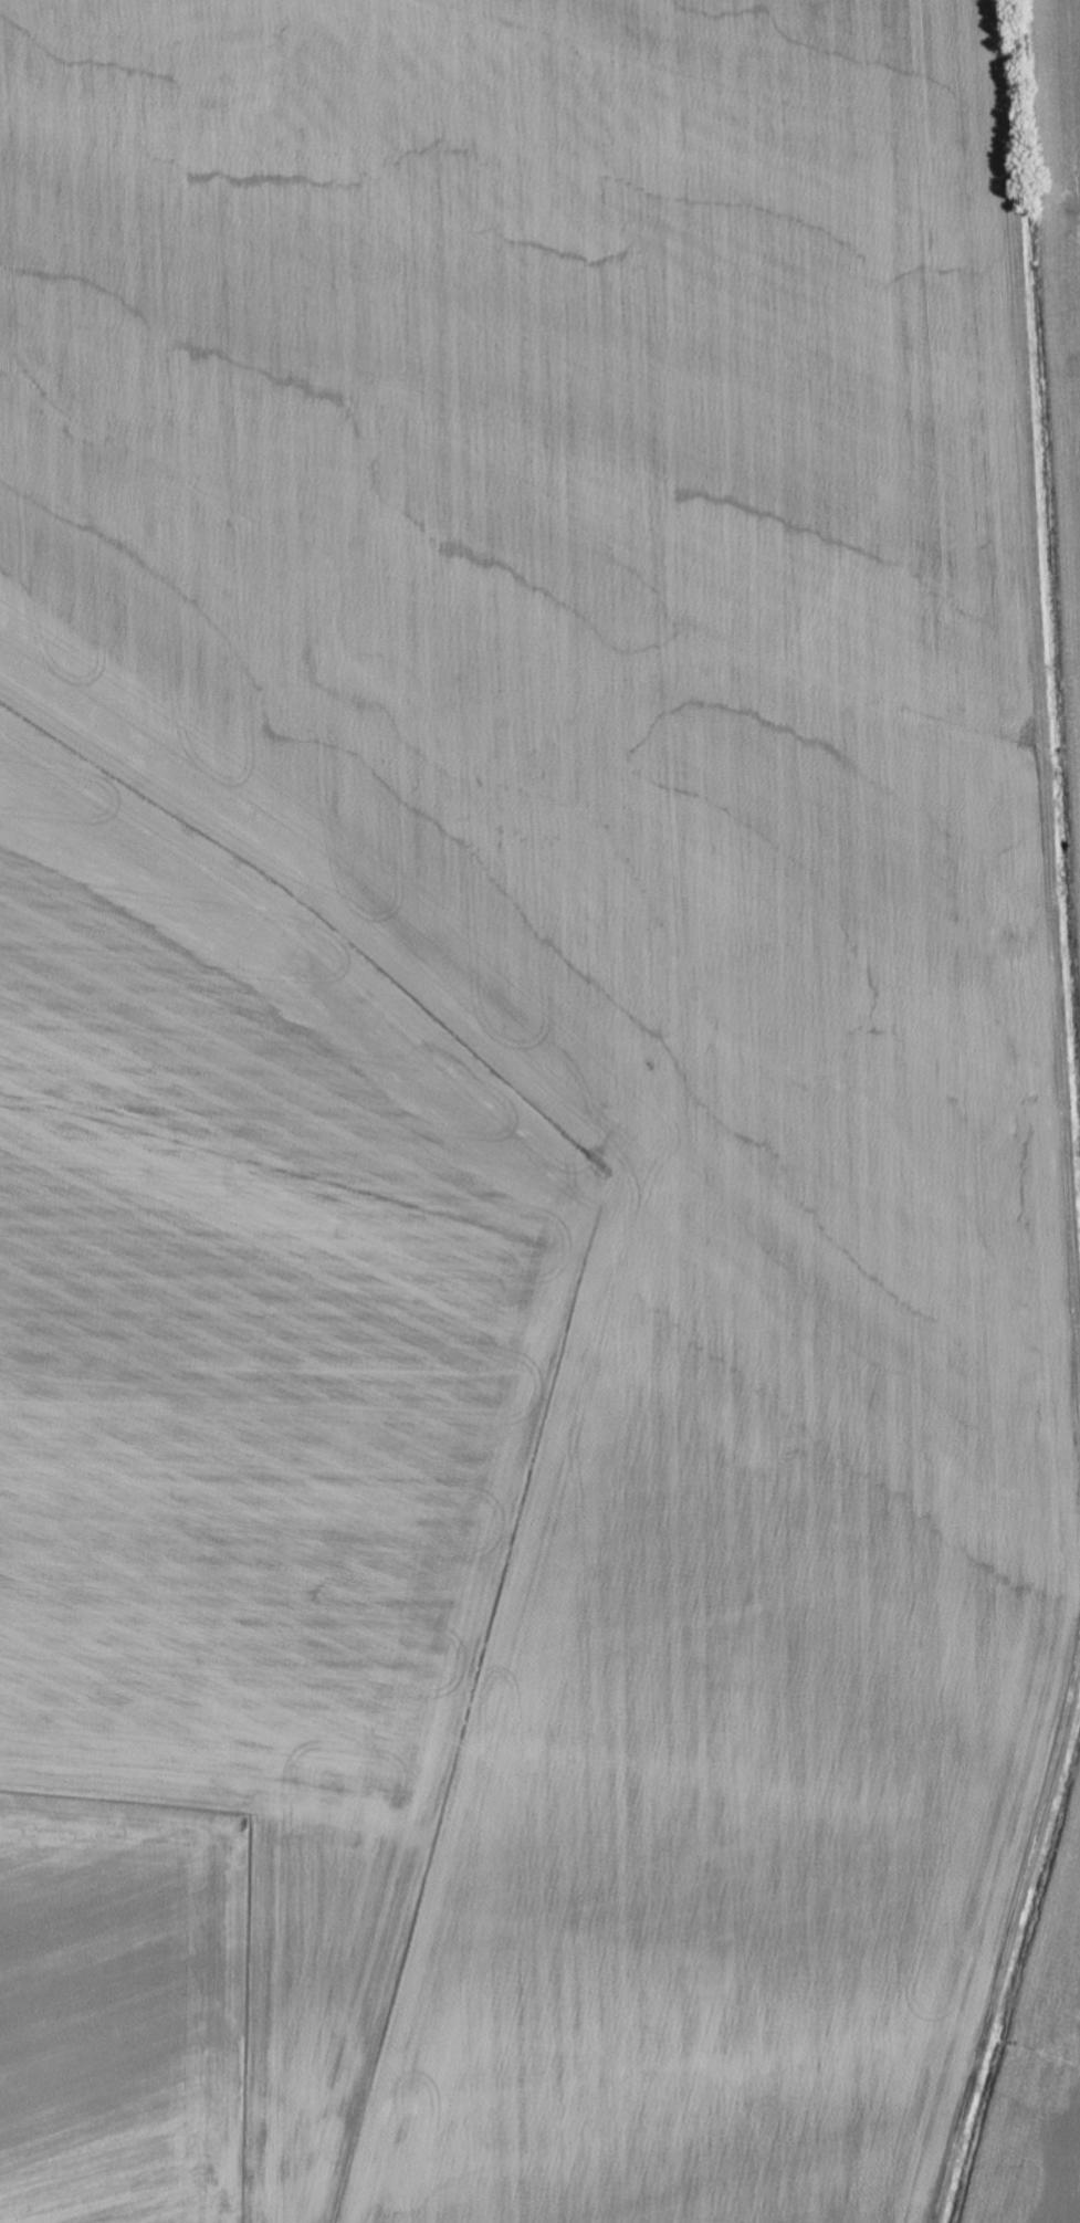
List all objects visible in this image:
road: (1066, 539)
road: (1030, 2057)

